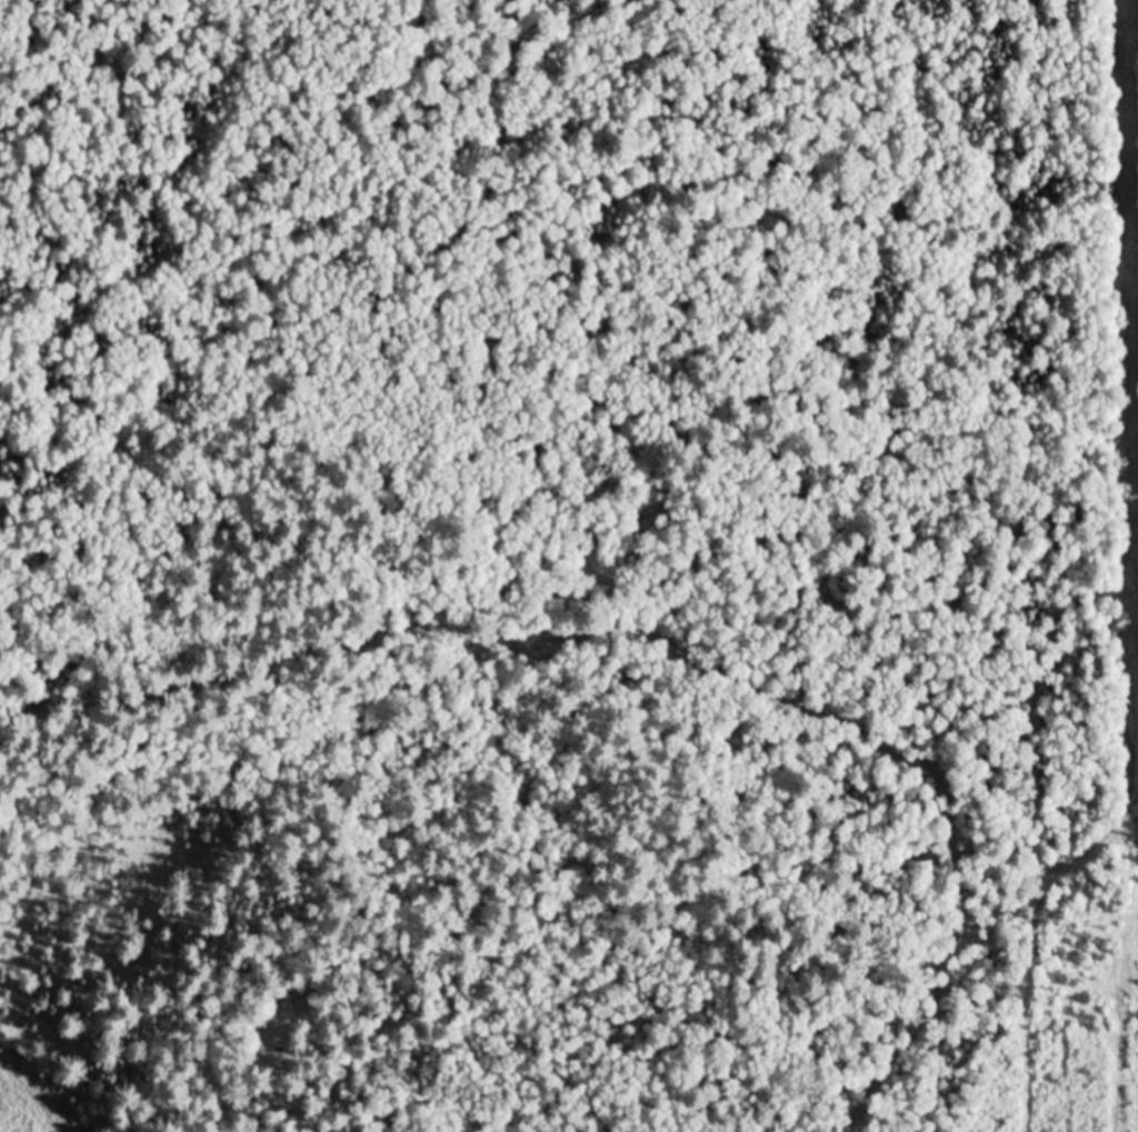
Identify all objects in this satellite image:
road: (670, 655)

